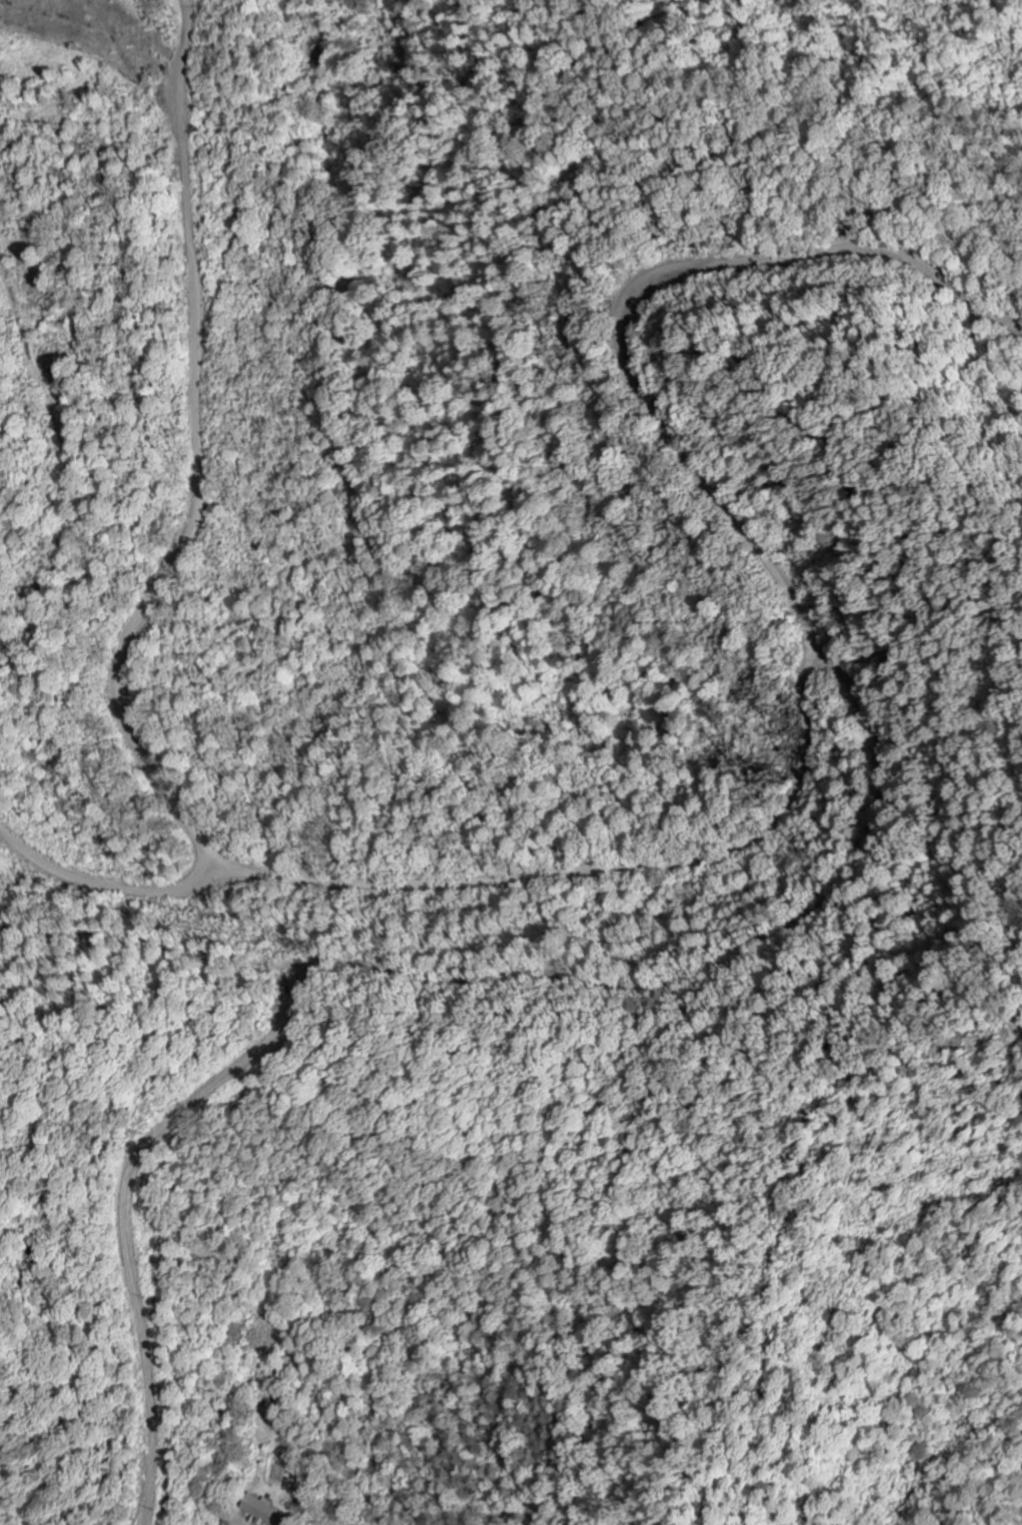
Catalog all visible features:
road: (805, 920)
building: (267, 1513)

